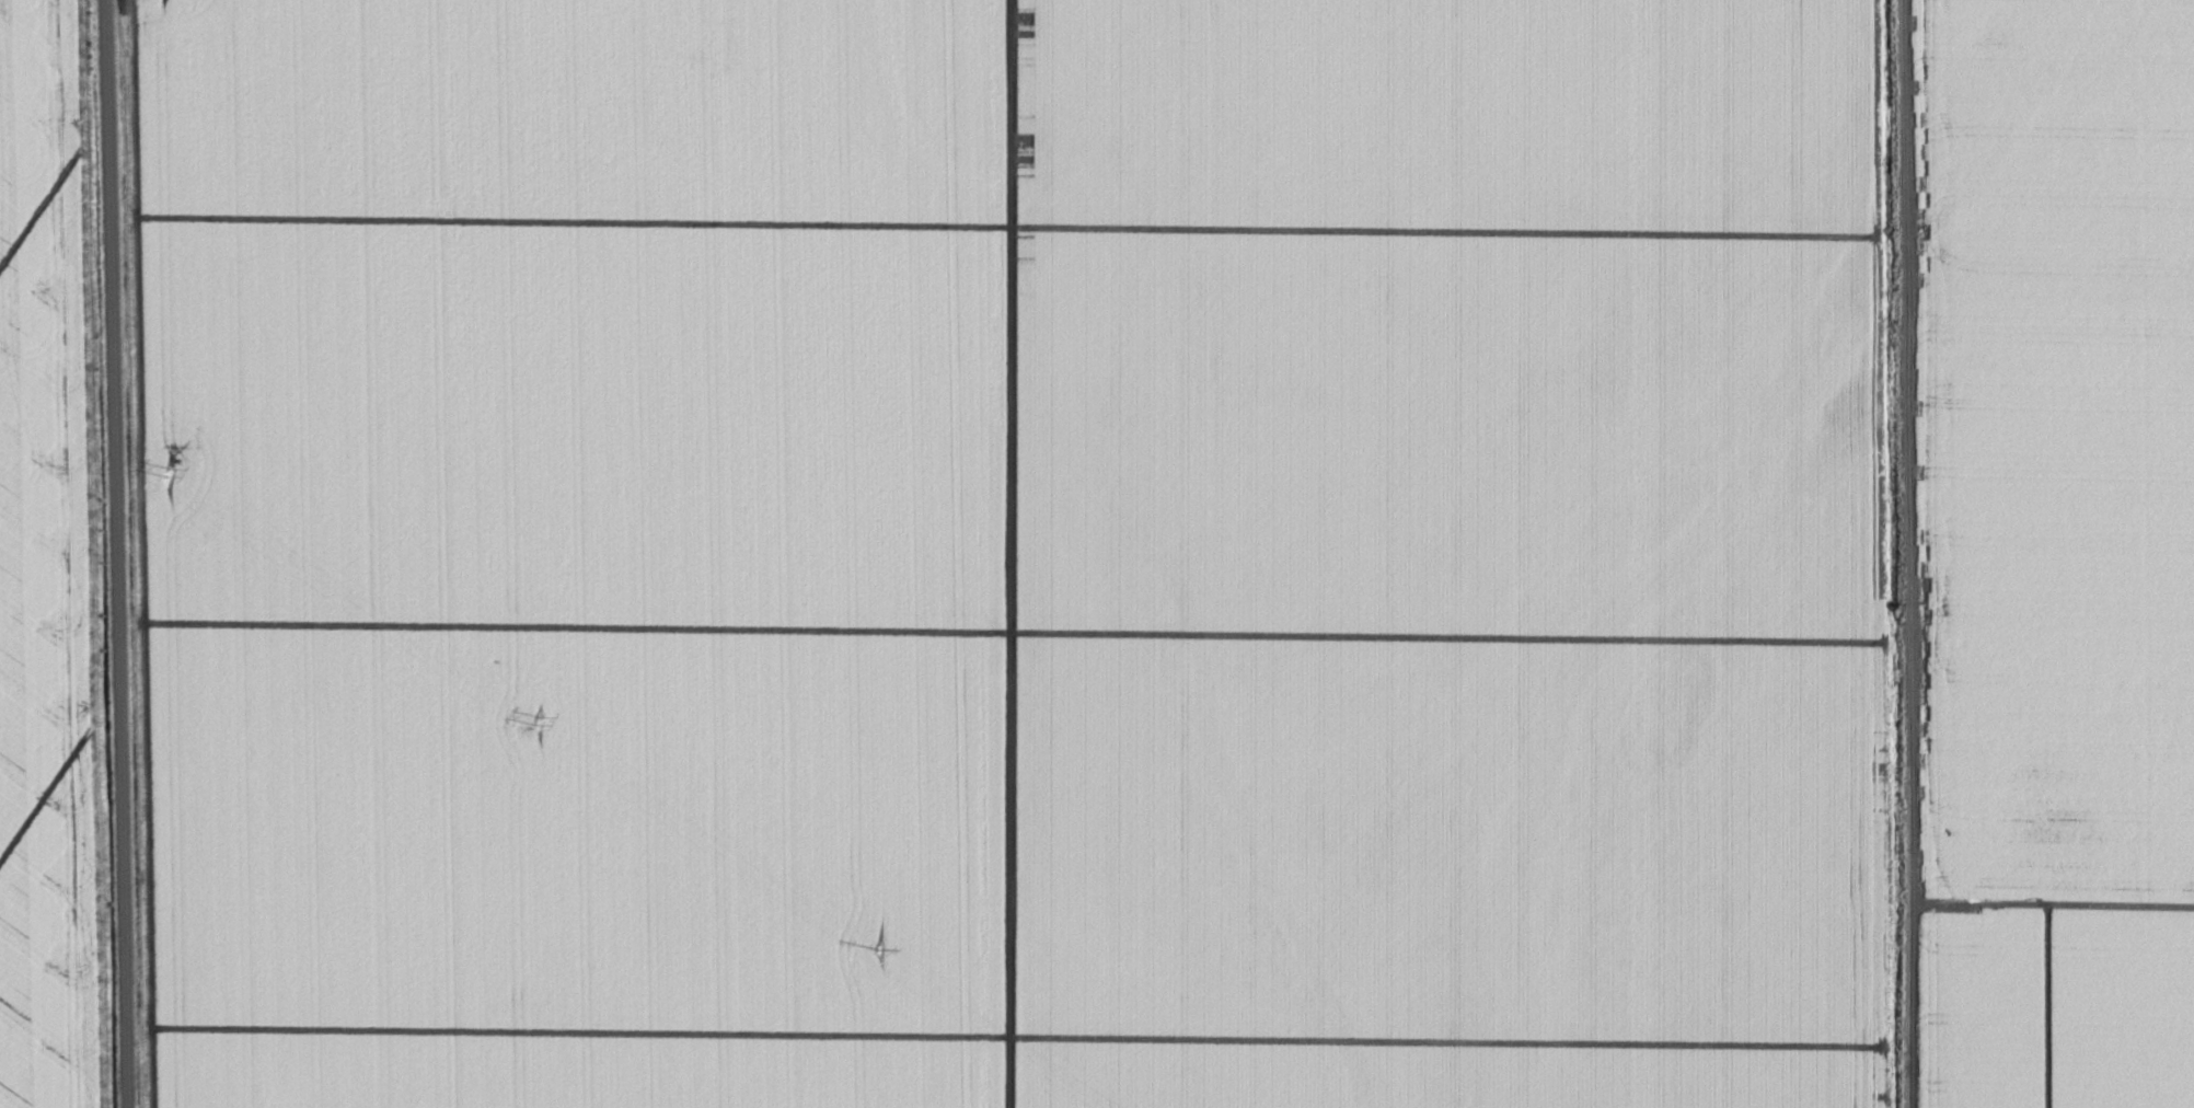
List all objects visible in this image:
power tower: (168, 473)
road: (115, 553)
power tower: (538, 715)
power tower: (874, 939)

